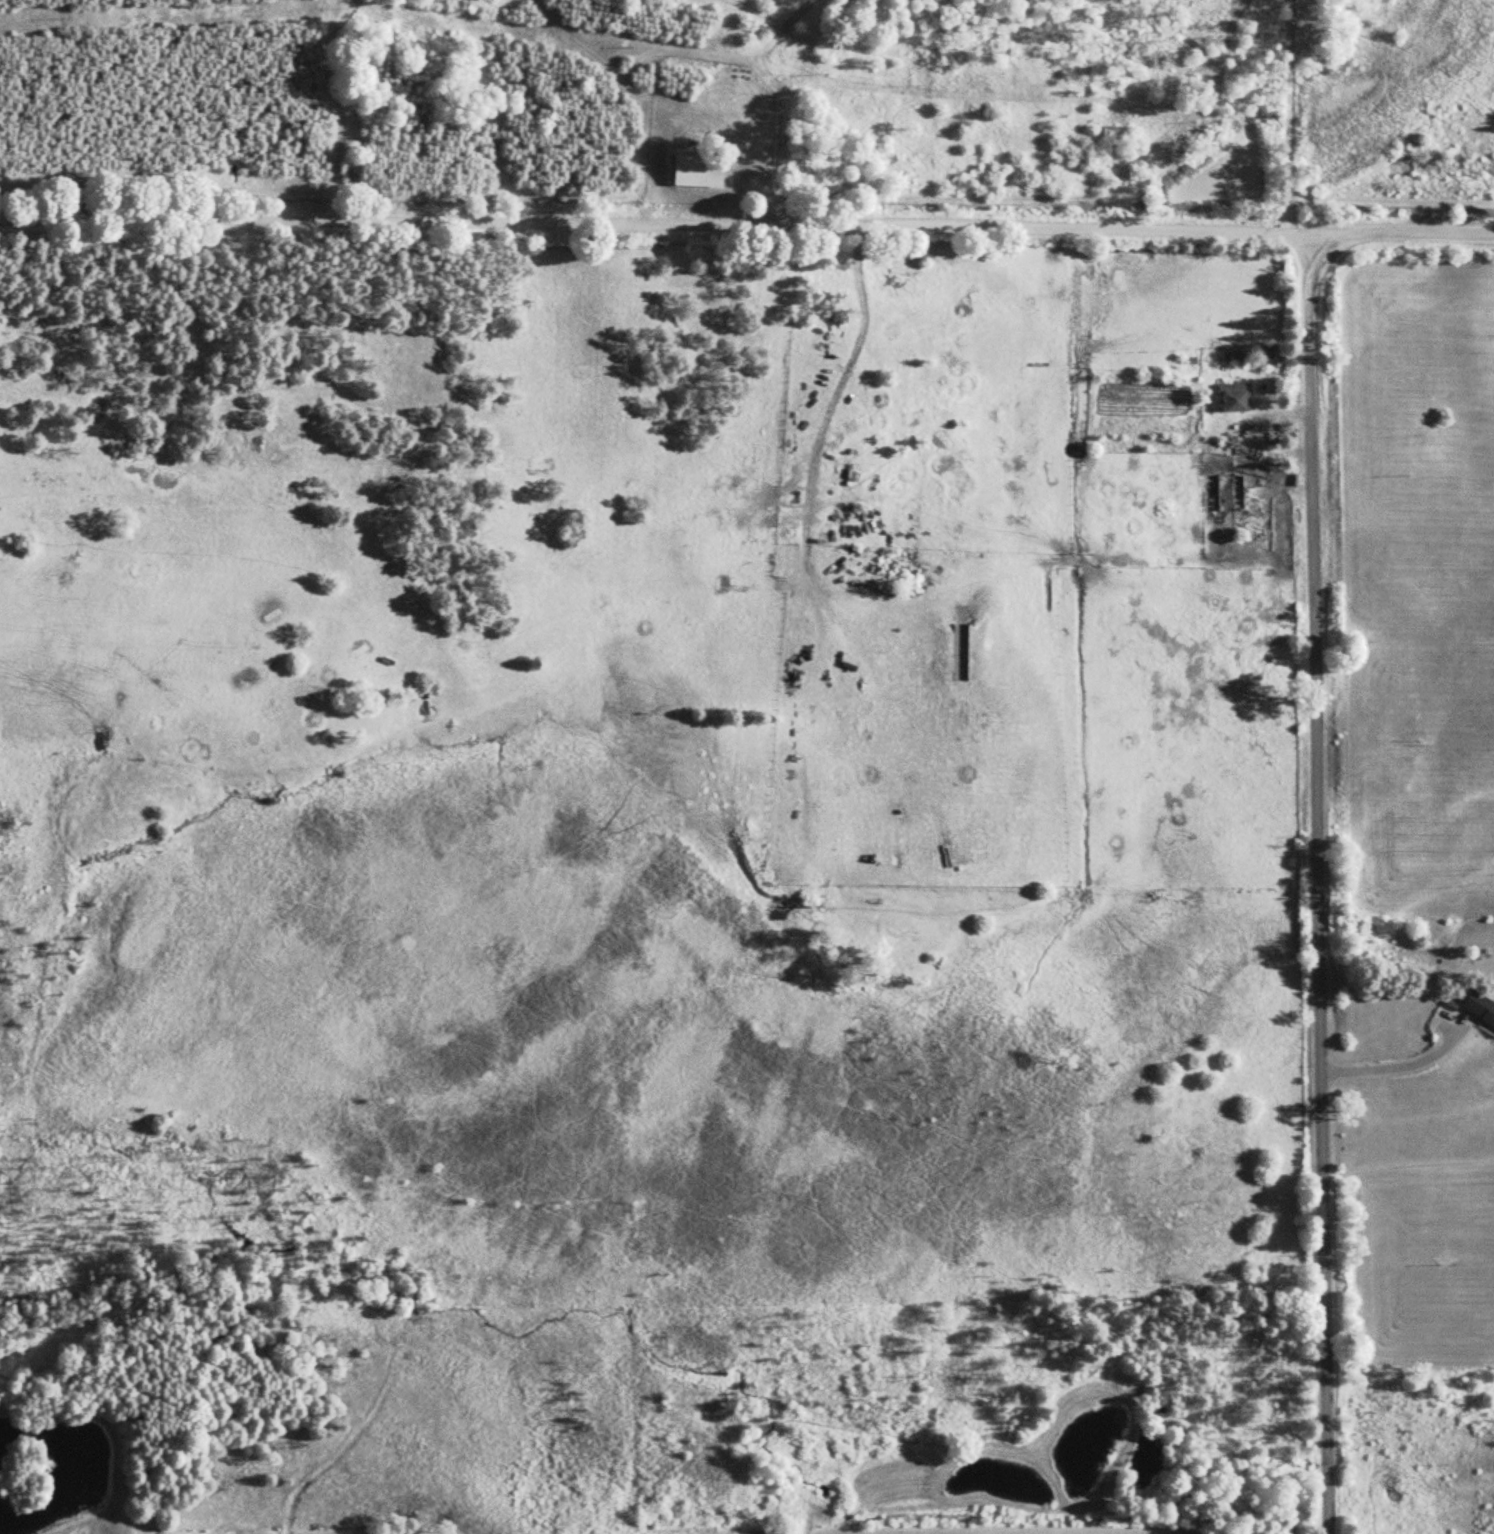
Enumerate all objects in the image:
building: (783, 68)
building: (702, 168)
road: (747, 237)
building: (1237, 396)
building: (1232, 490)
road: (1303, 891)
building: (1480, 1005)

